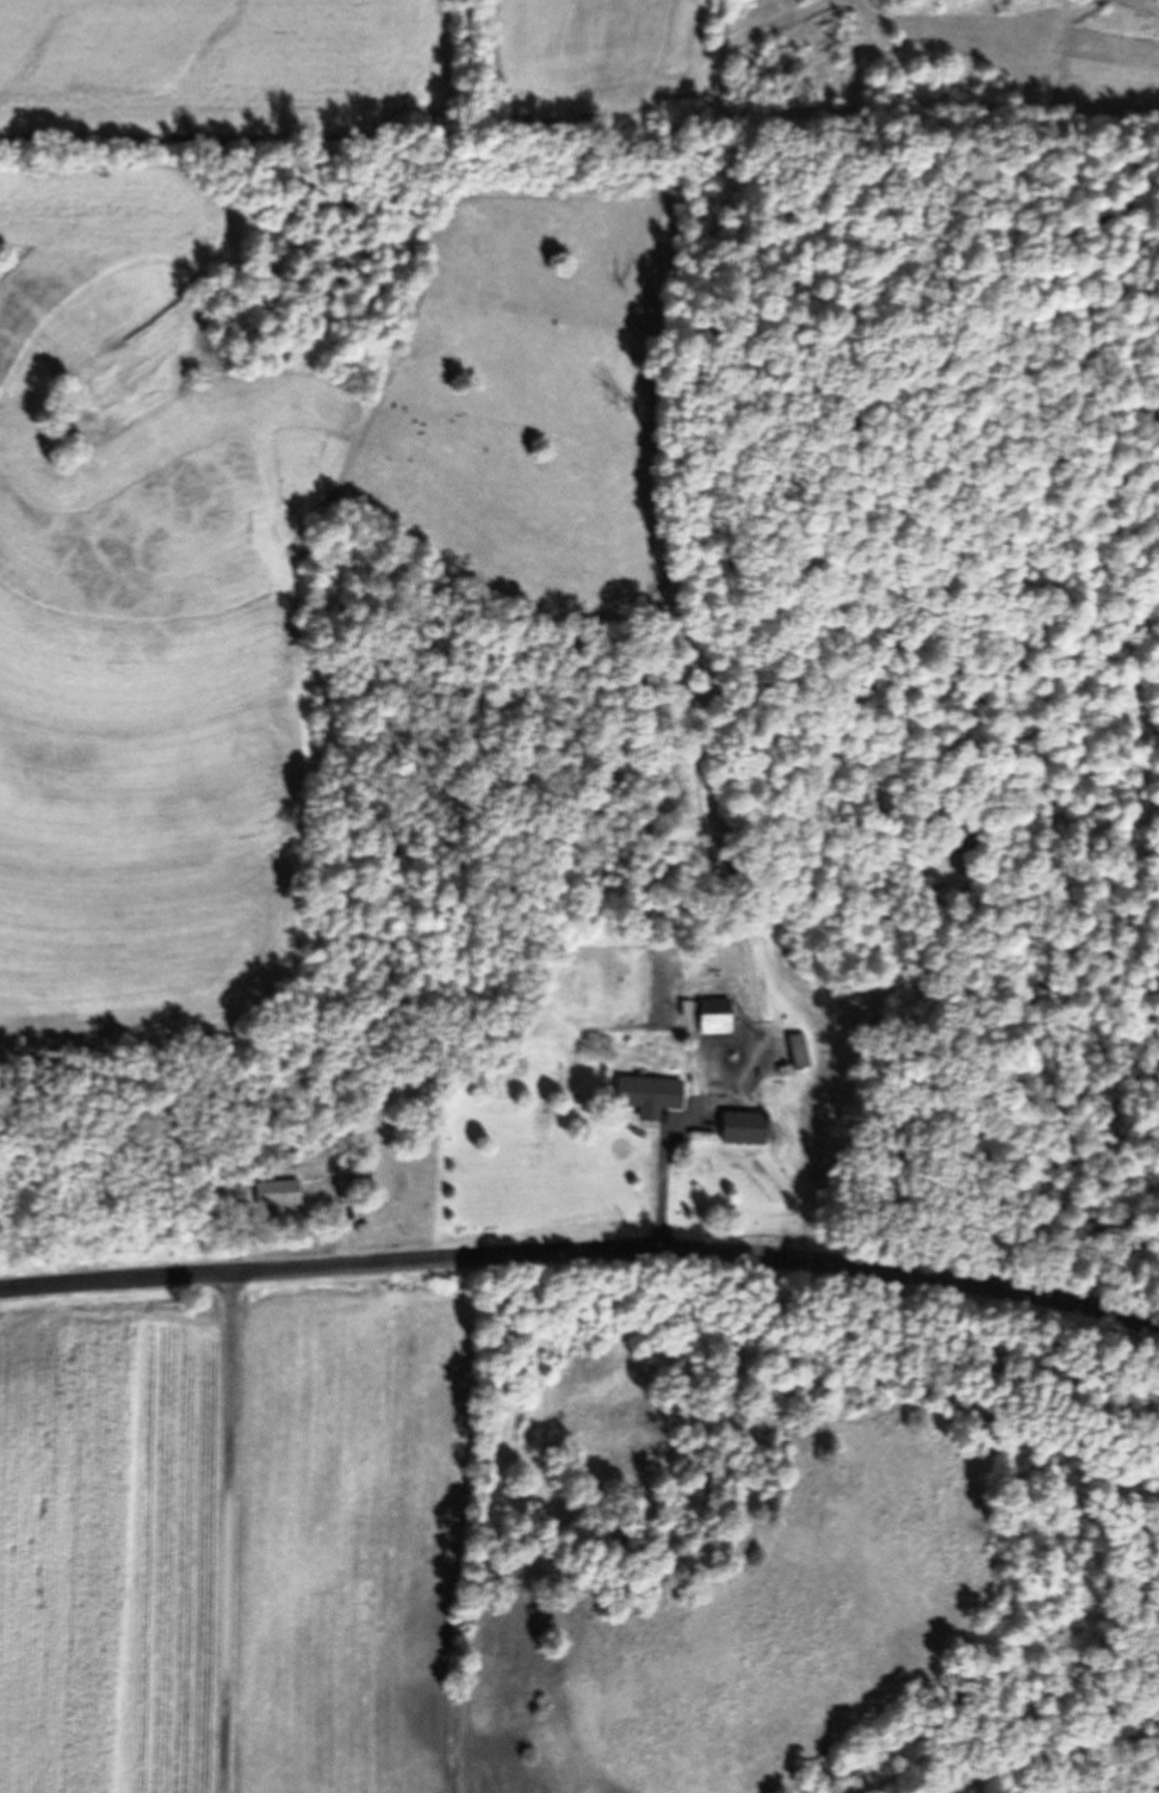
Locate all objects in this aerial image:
building: (711, 1015)
building: (802, 1051)
building: (646, 1093)
building: (739, 1127)
building: (352, 1182)
building: (273, 1194)
road: (582, 1249)
road: (229, 1532)

